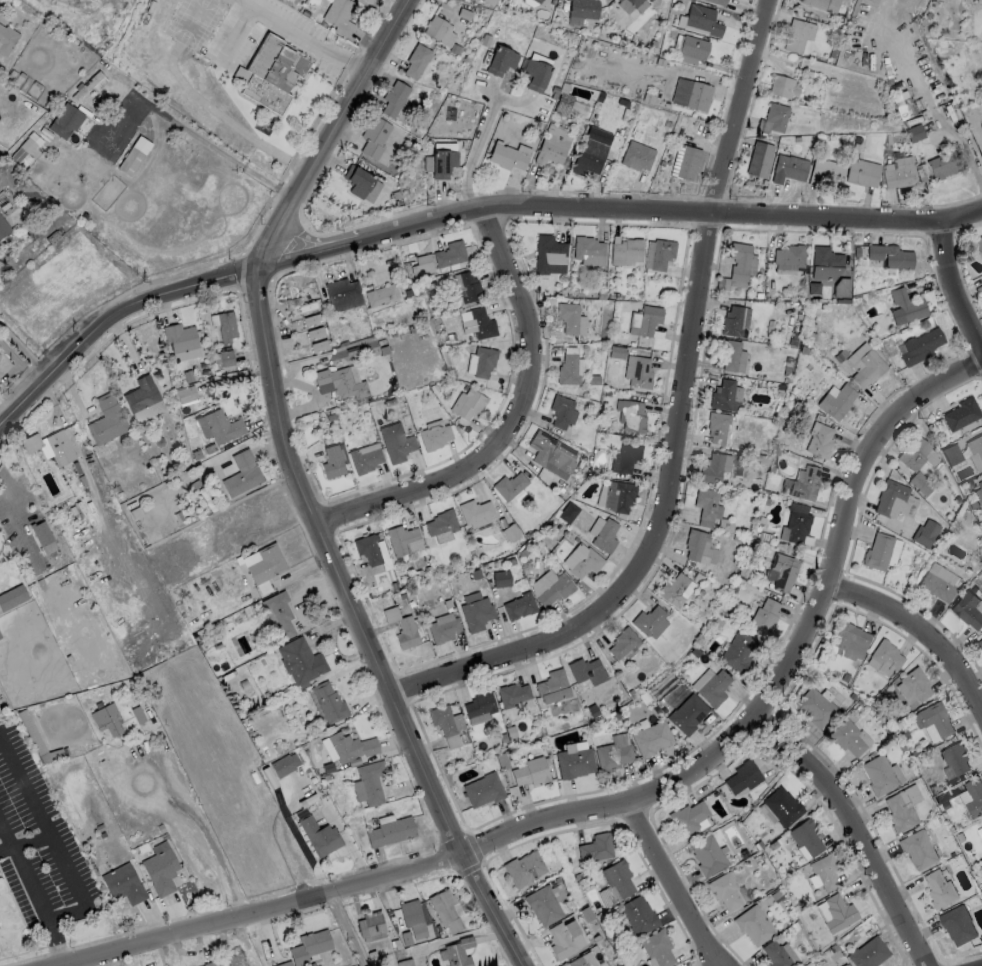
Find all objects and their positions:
building: (489, 1)
building: (536, 1)
building: (633, 2)
building: (716, 2)
building: (822, 4)
building: (641, 6)
building: (583, 8)
building: (338, 15)
building: (701, 20)
building: (434, 26)
building: (796, 34)
building: (6, 38)
road: (310, 38)
building: (689, 48)
building: (500, 58)
building: (416, 59)
building: (271, 71)
building: (241, 73)
building: (535, 73)
building: (94, 82)
building: (783, 86)
building: (691, 93)
building: (394, 97)
building: (563, 103)
road: (745, 105)
building: (903, 106)
building: (775, 116)
building: (64, 120)
road: (339, 133)
building: (914, 133)
building: (374, 136)
building: (552, 144)
road: (475, 150)
building: (22, 152)
building: (636, 154)
building: (133, 155)
building: (589, 155)
building: (506, 156)
building: (758, 159)
building: (442, 161)
building: (687, 162)
building: (943, 163)
building: (788, 167)
building: (862, 172)
building: (826, 174)
building: (899, 175)
building: (357, 179)
road: (607, 208)
building: (3, 226)
building: (981, 234)
building: (978, 244)
building: (589, 250)
building: (626, 251)
building: (450, 253)
building: (658, 253)
building: (550, 254)
building: (890, 254)
building: (789, 255)
building: (740, 263)
building: (826, 263)
building: (422, 265)
building: (981, 278)
road: (952, 285)
building: (469, 287)
building: (342, 293)
building: (380, 294)
building: (306, 305)
building: (905, 306)
building: (568, 316)
building: (646, 318)
building: (310, 319)
building: (732, 320)
road: (104, 321)
building: (482, 323)
building: (225, 325)
building: (314, 332)
building: (179, 336)
building: (317, 344)
building: (920, 345)
building: (617, 352)
building: (731, 355)
building: (227, 358)
building: (484, 361)
building: (867, 367)
building: (568, 369)
building: (638, 371)
building: (338, 382)
building: (186, 393)
building: (141, 394)
building: (722, 394)
building: (835, 401)
building: (470, 403)
building: (562, 410)
building: (960, 413)
building: (631, 414)
road: (509, 418)
building: (106, 419)
building: (219, 426)
building: (717, 426)
building: (433, 437)
building: (820, 441)
building: (396, 442)
building: (975, 446)
building: (58, 447)
building: (550, 451)
building: (914, 452)
building: (951, 454)
building: (625, 457)
building: (365, 459)
building: (332, 461)
building: (714, 467)
building: (242, 473)
building: (805, 483)
building: (919, 483)
building: (509, 485)
building: (980, 485)
building: (618, 495)
building: (889, 495)
building: (705, 505)
building: (474, 511)
building: (568, 512)
building: (442, 522)
building: (798, 525)
road: (660, 528)
building: (39, 532)
building: (510, 532)
building: (925, 532)
building: (605, 536)
building: (401, 539)
building: (694, 543)
building: (368, 548)
building: (877, 551)
building: (586, 562)
building: (266, 564)
building: (783, 570)
building: (501, 578)
building: (935, 586)
building: (673, 589)
building: (555, 590)
building: (12, 597)
building: (519, 605)
building: (967, 609)
building: (476, 613)
building: (279, 614)
building: (765, 614)
building: (649, 621)
road: (368, 623)
road: (918, 628)
building: (443, 629)
building: (406, 632)
building: (849, 636)
building: (0, 637)
building: (622, 642)
building: (979, 643)
building: (739, 651)
building: (886, 654)
building: (301, 660)
building: (586, 670)
building: (913, 685)
building: (552, 686)
building: (660, 687)
building: (714, 688)
building: (512, 694)
building: (329, 701)
building: (480, 704)
building: (815, 707)
building: (687, 714)
building: (935, 718)
building: (105, 719)
building: (442, 719)
building: (846, 737)
building: (652, 738)
building: (351, 746)
building: (612, 756)
building: (955, 758)
building: (574, 762)
building: (282, 766)
building: (531, 771)
building: (878, 774)
building: (743, 777)
building: (371, 781)
building: (483, 789)
building: (974, 797)
road: (630, 801)
building: (783, 806)
building: (899, 812)
building: (688, 817)
road: (202, 828)
building: (391, 831)
building: (979, 831)
road: (852, 832)
road: (279, 835)
building: (319, 835)
building: (806, 837)
road: (346, 838)
road: (53, 839)
road: (26, 843)
building: (596, 847)
building: (917, 848)
building: (707, 854)
building: (524, 868)
building: (160, 870)
building: (826, 871)
building: (618, 877)
building: (123, 883)
road: (676, 883)
building: (938, 888)
building: (724, 890)
road: (33, 894)
building: (542, 905)
building: (446, 911)
building: (839, 913)
building: (638, 915)
building: (413, 917)
building: (370, 923)
building: (957, 924)
building: (754, 925)
road: (346, 929)
building: (562, 939)
building: (309, 946)
building: (658, 947)
building: (458, 952)
building: (868, 952)
building: (775, 954)
building: (236, 959)
building: (405, 962)
building: (577, 962)
building: (208, 963)
building: (285, 964)
building: (844, 965)

